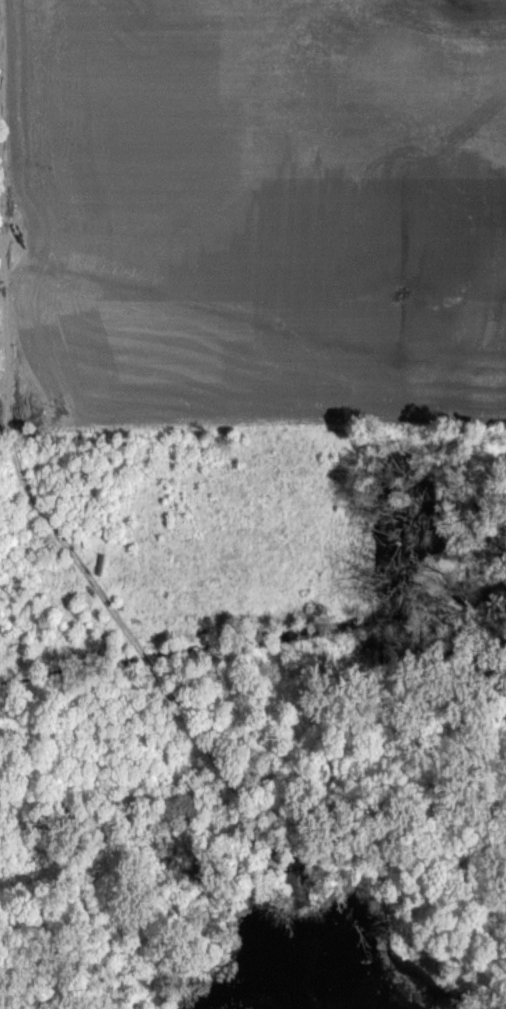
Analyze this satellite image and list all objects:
road: (11, 430)
building: (194, 871)
building: (176, 889)

